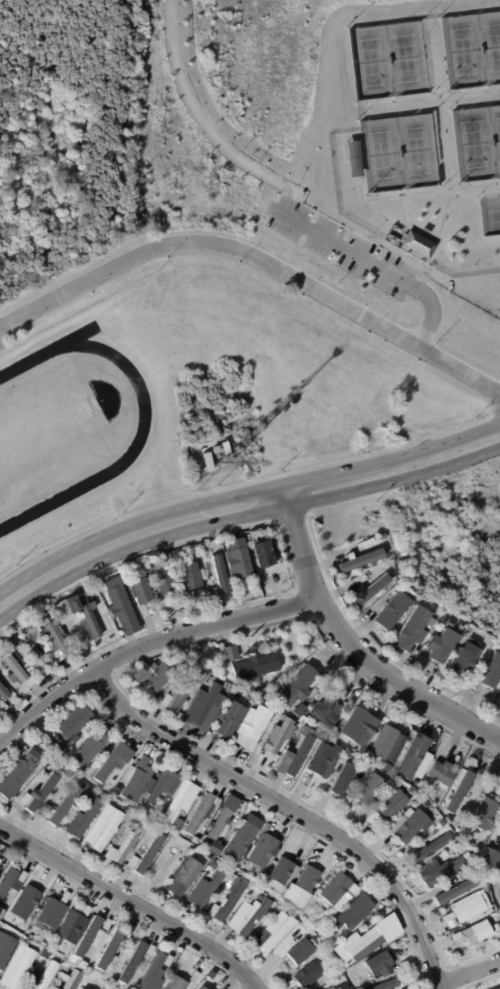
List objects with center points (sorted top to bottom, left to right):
park: (472, 46)
park: (493, 46)
park: (462, 51)
park: (386, 56)
park: (405, 58)
park: (369, 62)
road: (438, 101)
road: (207, 122)
park: (498, 133)
park: (477, 138)
park: (472, 144)
park: (398, 149)
park: (415, 150)
park: (380, 154)
road: (496, 182)
building: (298, 193)
road: (433, 194)
road: (450, 197)
road: (405, 203)
road: (373, 207)
park: (489, 214)
building: (393, 239)
building: (417, 243)
parking lot: (341, 246)
road: (257, 257)
road: (411, 258)
road: (376, 265)
parking lot: (1, 346)
track: (141, 429)
building: (228, 448)
building: (208, 462)
road: (244, 506)
building: (380, 536)
building: (219, 540)
building: (262, 553)
building: (176, 555)
building: (167, 558)
building: (240, 559)
building: (361, 560)
building: (220, 573)
building: (189, 574)
building: (162, 579)
building: (245, 583)
building: (141, 591)
building: (216, 592)
building: (368, 592)
building: (191, 595)
building: (117, 599)
building: (167, 601)
building: (144, 609)
building: (61, 612)
building: (390, 613)
building: (87, 619)
building: (447, 625)
building: (410, 630)
building: (467, 636)
building: (56, 641)
building: (13, 645)
road: (361, 645)
building: (439, 647)
road: (149, 650)
building: (228, 652)
building: (24, 653)
building: (34, 656)
building: (460, 663)
building: (253, 666)
building: (14, 671)
building: (491, 673)
building: (154, 677)
building: (294, 687)
building: (182, 689)
building: (3, 694)
building: (163, 701)
building: (227, 701)
building: (202, 705)
building: (1, 706)
building: (296, 710)
building: (320, 715)
building: (300, 719)
building: (227, 720)
building: (73, 722)
building: (251, 724)
building: (352, 724)
building: (99, 729)
building: (275, 736)
building: (384, 741)
building: (67, 743)
building: (58, 749)
building: (85, 751)
building: (319, 752)
building: (33, 755)
building: (360, 756)
building: (409, 756)
building: (110, 760)
building: (383, 767)
building: (59, 769)
building: (78, 770)
building: (437, 773)
building: (13, 779)
building: (134, 780)
building: (349, 780)
building: (411, 783)
building: (160, 785)
building: (363, 790)
building: (407, 790)
building: (497, 791)
building: (456, 792)
building: (35, 795)
building: (175, 800)
building: (342, 801)
building: (386, 803)
building: (154, 806)
building: (58, 807)
building: (107, 812)
building: (198, 812)
road: (291, 812)
building: (479, 815)
building: (370, 817)
building: (79, 820)
building: (443, 820)
building: (174, 823)
building: (214, 824)
building: (400, 826)
building: (498, 831)
building: (101, 832)
building: (219, 835)
building: (192, 839)
building: (235, 841)
building: (198, 842)
building: (426, 847)
building: (118, 848)
building: (256, 850)
building: (142, 855)
building: (483, 857)
building: (2, 863)
building: (423, 863)
building: (277, 870)
building: (422, 871)
building: (184, 872)
building: (439, 872)
building: (456, 876)
building: (232, 879)
building: (10, 880)
building: (296, 886)
building: (329, 888)
building: (482, 889)
building: (449, 891)
building: (200, 892)
building: (64, 896)
building: (254, 898)
building: (228, 901)
building: (22, 902)
road: (133, 904)
building: (466, 908)
building: (211, 910)
building: (1, 911)
building: (348, 911)
building: (48, 912)
building: (272, 913)
building: (249, 917)
building: (71, 925)
building: (106, 926)
building: (493, 926)
building: (471, 933)
building: (271, 934)
building: (84, 939)
building: (363, 943)
building: (5, 948)
building: (107, 949)
building: (149, 950)
building: (298, 952)
building: (44, 962)
building: (131, 963)
building: (81, 964)
building: (377, 965)
building: (155, 967)
building: (21, 968)
road: (471, 970)
building: (62, 972)
building: (44, 975)
building: (194, 976)
building: (302, 977)
building: (70, 980)
building: (336, 982)
building: (175, 983)
building: (383, 984)
building: (392, 985)
building: (340, 986)
building: (49, 987)
building: (25, 988)
building: (77, 988)
building: (81, 988)
building: (108, 988)
building: (200, 988)
building: (330, 988)
building: (357, 988)
building: (498, 988)

